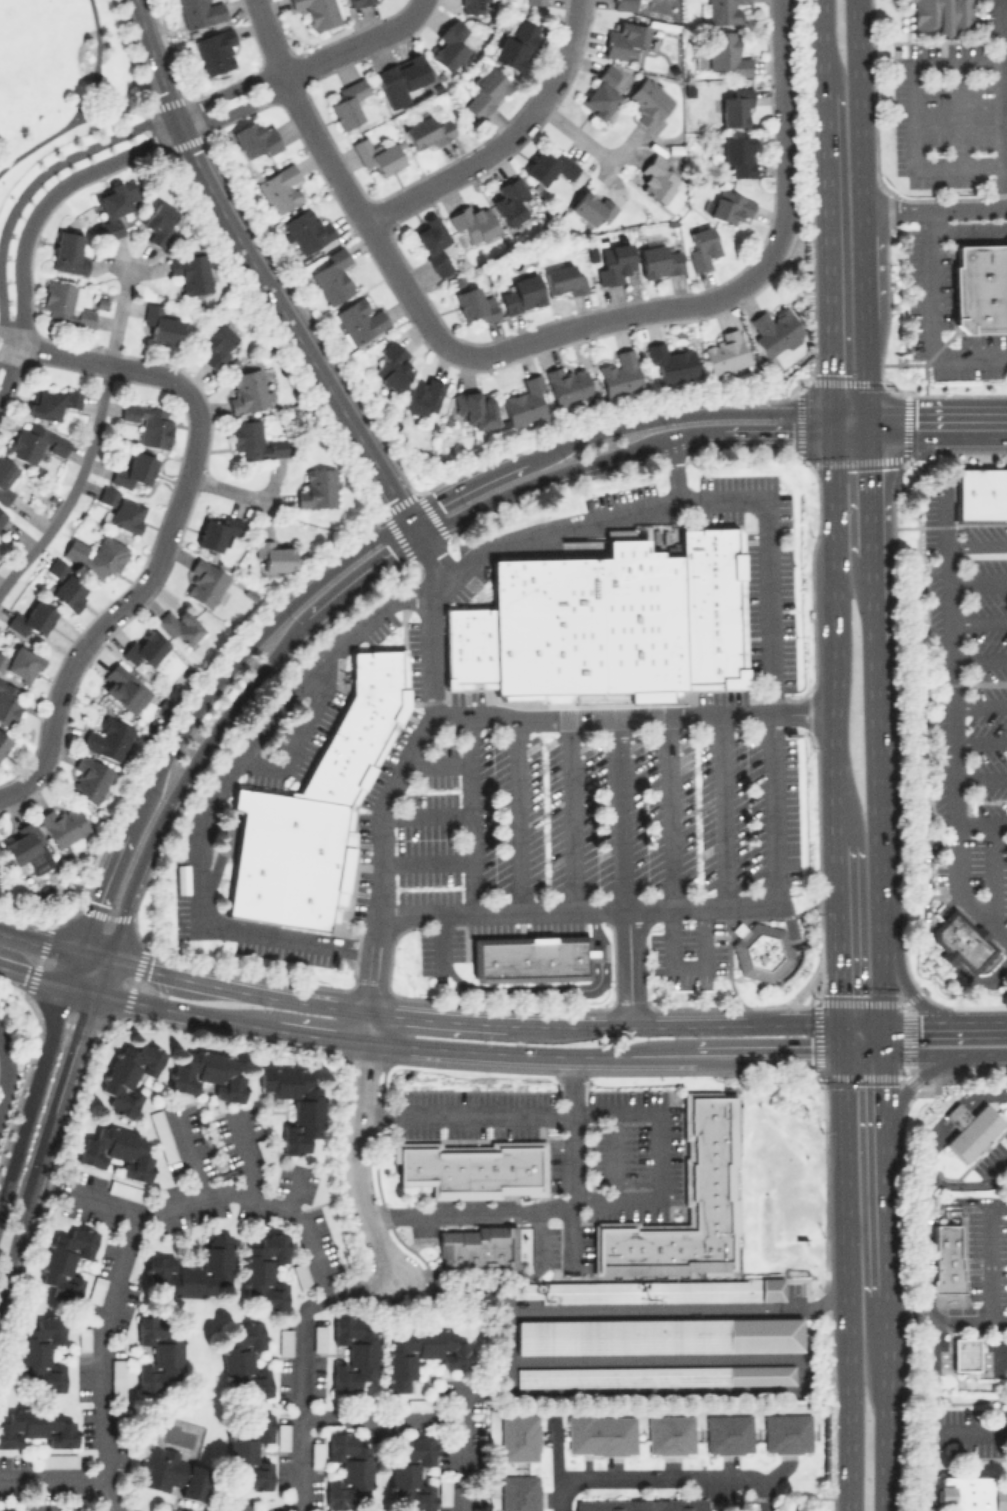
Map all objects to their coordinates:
building: (354, 1)
road: (420, 2)
building: (535, 2)
building: (623, 4)
building: (471, 6)
building: (723, 10)
building: (200, 12)
building: (317, 12)
building: (940, 15)
building: (624, 39)
road: (354, 44)
building: (447, 45)
road: (820, 45)
building: (515, 46)
building: (215, 50)
road: (96, 53)
road: (563, 54)
building: (726, 54)
road: (153, 57)
building: (400, 78)
park: (60, 80)
road: (228, 89)
building: (485, 91)
building: (600, 92)
building: (648, 101)
building: (347, 103)
building: (735, 107)
road: (999, 107)
road: (783, 109)
parking lot: (944, 110)
road: (913, 111)
road: (957, 111)
road: (80, 113)
building: (426, 131)
road: (573, 133)
building: (255, 138)
road: (158, 140)
road: (88, 146)
building: (377, 154)
building: (738, 154)
building: (548, 166)
road: (456, 172)
building: (661, 184)
building: (279, 188)
road: (345, 189)
building: (509, 200)
building: (115, 203)
building: (591, 205)
building: (729, 206)
road: (935, 210)
building: (472, 221)
building: (158, 222)
road: (5, 225)
road: (966, 229)
building: (307, 230)
building: (433, 244)
building: (701, 247)
building: (67, 252)
road: (826, 252)
road: (769, 254)
building: (658, 260)
building: (613, 263)
building: (191, 272)
building: (332, 275)
building: (562, 279)
building: (980, 288)
building: (520, 293)
building: (65, 303)
road: (20, 304)
building: (475, 304)
road: (1, 308)
road: (606, 317)
road: (929, 317)
road: (116, 319)
building: (359, 319)
parking lot: (943, 319)
building: (160, 323)
road: (293, 327)
building: (775, 330)
building: (217, 344)
building: (724, 352)
building: (671, 362)
road: (103, 363)
building: (392, 366)
building: (619, 373)
building: (567, 384)
building: (248, 390)
building: (422, 396)
building: (50, 401)
building: (524, 402)
building: (474, 408)
traffic signals: (831, 413)
road: (850, 418)
building: (148, 422)
traffic signals: (869, 423)
road: (938, 423)
road: (831, 425)
road: (850, 430)
road: (749, 435)
traffic signals: (831, 437)
building: (253, 440)
building: (34, 443)
building: (133, 470)
building: (5, 479)
road: (540, 479)
road: (74, 486)
road: (226, 487)
building: (317, 488)
building: (981, 493)
building: (121, 509)
road: (871, 513)
building: (2, 515)
road: (942, 515)
road: (588, 524)
building: (218, 532)
road: (975, 547)
road: (359, 548)
building: (96, 554)
building: (273, 554)
road: (364, 576)
building: (206, 581)
road: (977, 582)
building: (66, 585)
building: (711, 607)
parking lot: (769, 607)
road: (115, 608)
building: (31, 618)
road: (977, 623)
building: (179, 625)
building: (588, 626)
road: (836, 640)
building: (145, 647)
building: (468, 648)
road: (978, 658)
building: (20, 663)
road: (949, 686)
building: (125, 687)
building: (8, 702)
parking lot: (967, 706)
road: (978, 707)
road: (635, 717)
building: (359, 727)
road: (297, 737)
building: (107, 738)
road: (978, 741)
building: (3, 742)
road: (402, 769)
parking lot: (385, 772)
road: (183, 775)
road: (979, 777)
building: (89, 778)
road: (212, 795)
road: (425, 810)
road: (724, 811)
road: (624, 814)
road: (519, 815)
road: (572, 815)
road: (470, 816)
parking lot: (597, 818)
road: (982, 823)
building: (63, 826)
building: (27, 848)
road: (773, 858)
building: (289, 859)
road: (426, 861)
road: (989, 874)
road: (672, 884)
road: (925, 886)
road: (957, 893)
parking lot: (181, 898)
road: (596, 927)
road: (845, 934)
building: (960, 940)
road: (40, 941)
road: (441, 942)
parking lot: (440, 947)
building: (758, 950)
road: (596, 951)
parking lot: (282, 952)
parking lot: (688, 954)
road: (92, 957)
building: (531, 957)
road: (946, 958)
road: (627, 968)
road: (75, 970)
road: (34, 975)
road: (97, 976)
road: (981, 977)
road: (529, 986)
road: (236, 987)
road: (80, 989)
road: (909, 991)
road: (183, 1010)
road: (442, 1017)
road: (368, 1025)
road: (680, 1025)
traffic signals: (848, 1025)
road: (979, 1025)
road: (866, 1026)
road: (918, 1026)
traffic signals: (885, 1027)
road: (321, 1033)
road: (848, 1039)
road: (885, 1040)
road: (3, 1041)
road: (530, 1052)
road: (771, 1053)
traffic signals: (848, 1053)
road: (867, 1053)
road: (946, 1053)
traffic signals: (886, 1054)
road: (5, 1073)
building: (207, 1074)
building: (127, 1075)
road: (917, 1077)
road: (886, 1086)
road: (35, 1098)
building: (294, 1104)
building: (969, 1129)
building: (162, 1135)
road: (45, 1143)
building: (115, 1150)
building: (264, 1150)
road: (658, 1152)
road: (611, 1154)
road: (248, 1157)
road: (573, 1157)
road: (191, 1159)
road: (362, 1162)
building: (471, 1167)
building: (118, 1187)
road: (295, 1192)
road: (206, 1197)
building: (687, 1201)
road: (537, 1234)
building: (477, 1247)
building: (945, 1259)
building: (65, 1261)
road: (987, 1262)
building: (192, 1269)
building: (264, 1271)
building: (301, 1275)
road: (849, 1281)
building: (95, 1289)
building: (648, 1290)
road: (820, 1302)
road: (887, 1314)
building: (658, 1335)
building: (319, 1337)
building: (83, 1338)
building: (285, 1341)
road: (105, 1343)
building: (353, 1353)
building: (421, 1353)
building: (964, 1353)
building: (160, 1354)
building: (40, 1355)
building: (243, 1362)
road: (303, 1366)
building: (655, 1375)
building: (117, 1377)
building: (417, 1403)
road: (384, 1417)
building: (36, 1426)
building: (786, 1432)
building: (728, 1433)
building: (601, 1434)
building: (670, 1434)
building: (283, 1435)
building: (519, 1436)
building: (248, 1447)
road: (464, 1447)
building: (315, 1455)
building: (57, 1459)
building: (348, 1470)
building: (171, 1472)
building: (411, 1474)
road: (74, 1477)
road: (662, 1477)
building: (444, 1491)
building: (520, 1492)
building: (968, 1492)
building: (641, 1504)
road: (119, 1509)
road: (295, 1509)
building: (10, 1510)

